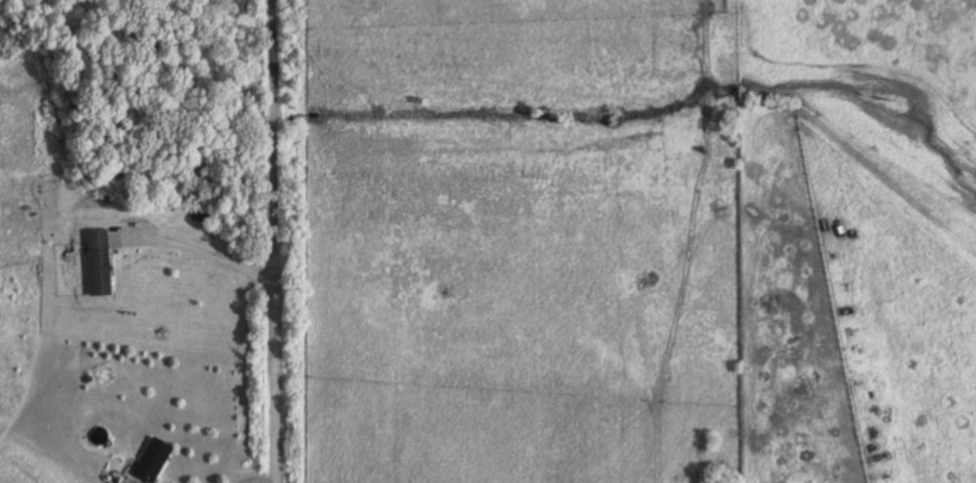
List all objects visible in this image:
road: (272, 241)
road: (200, 248)
building: (98, 262)
building: (153, 461)
road: (259, 481)

